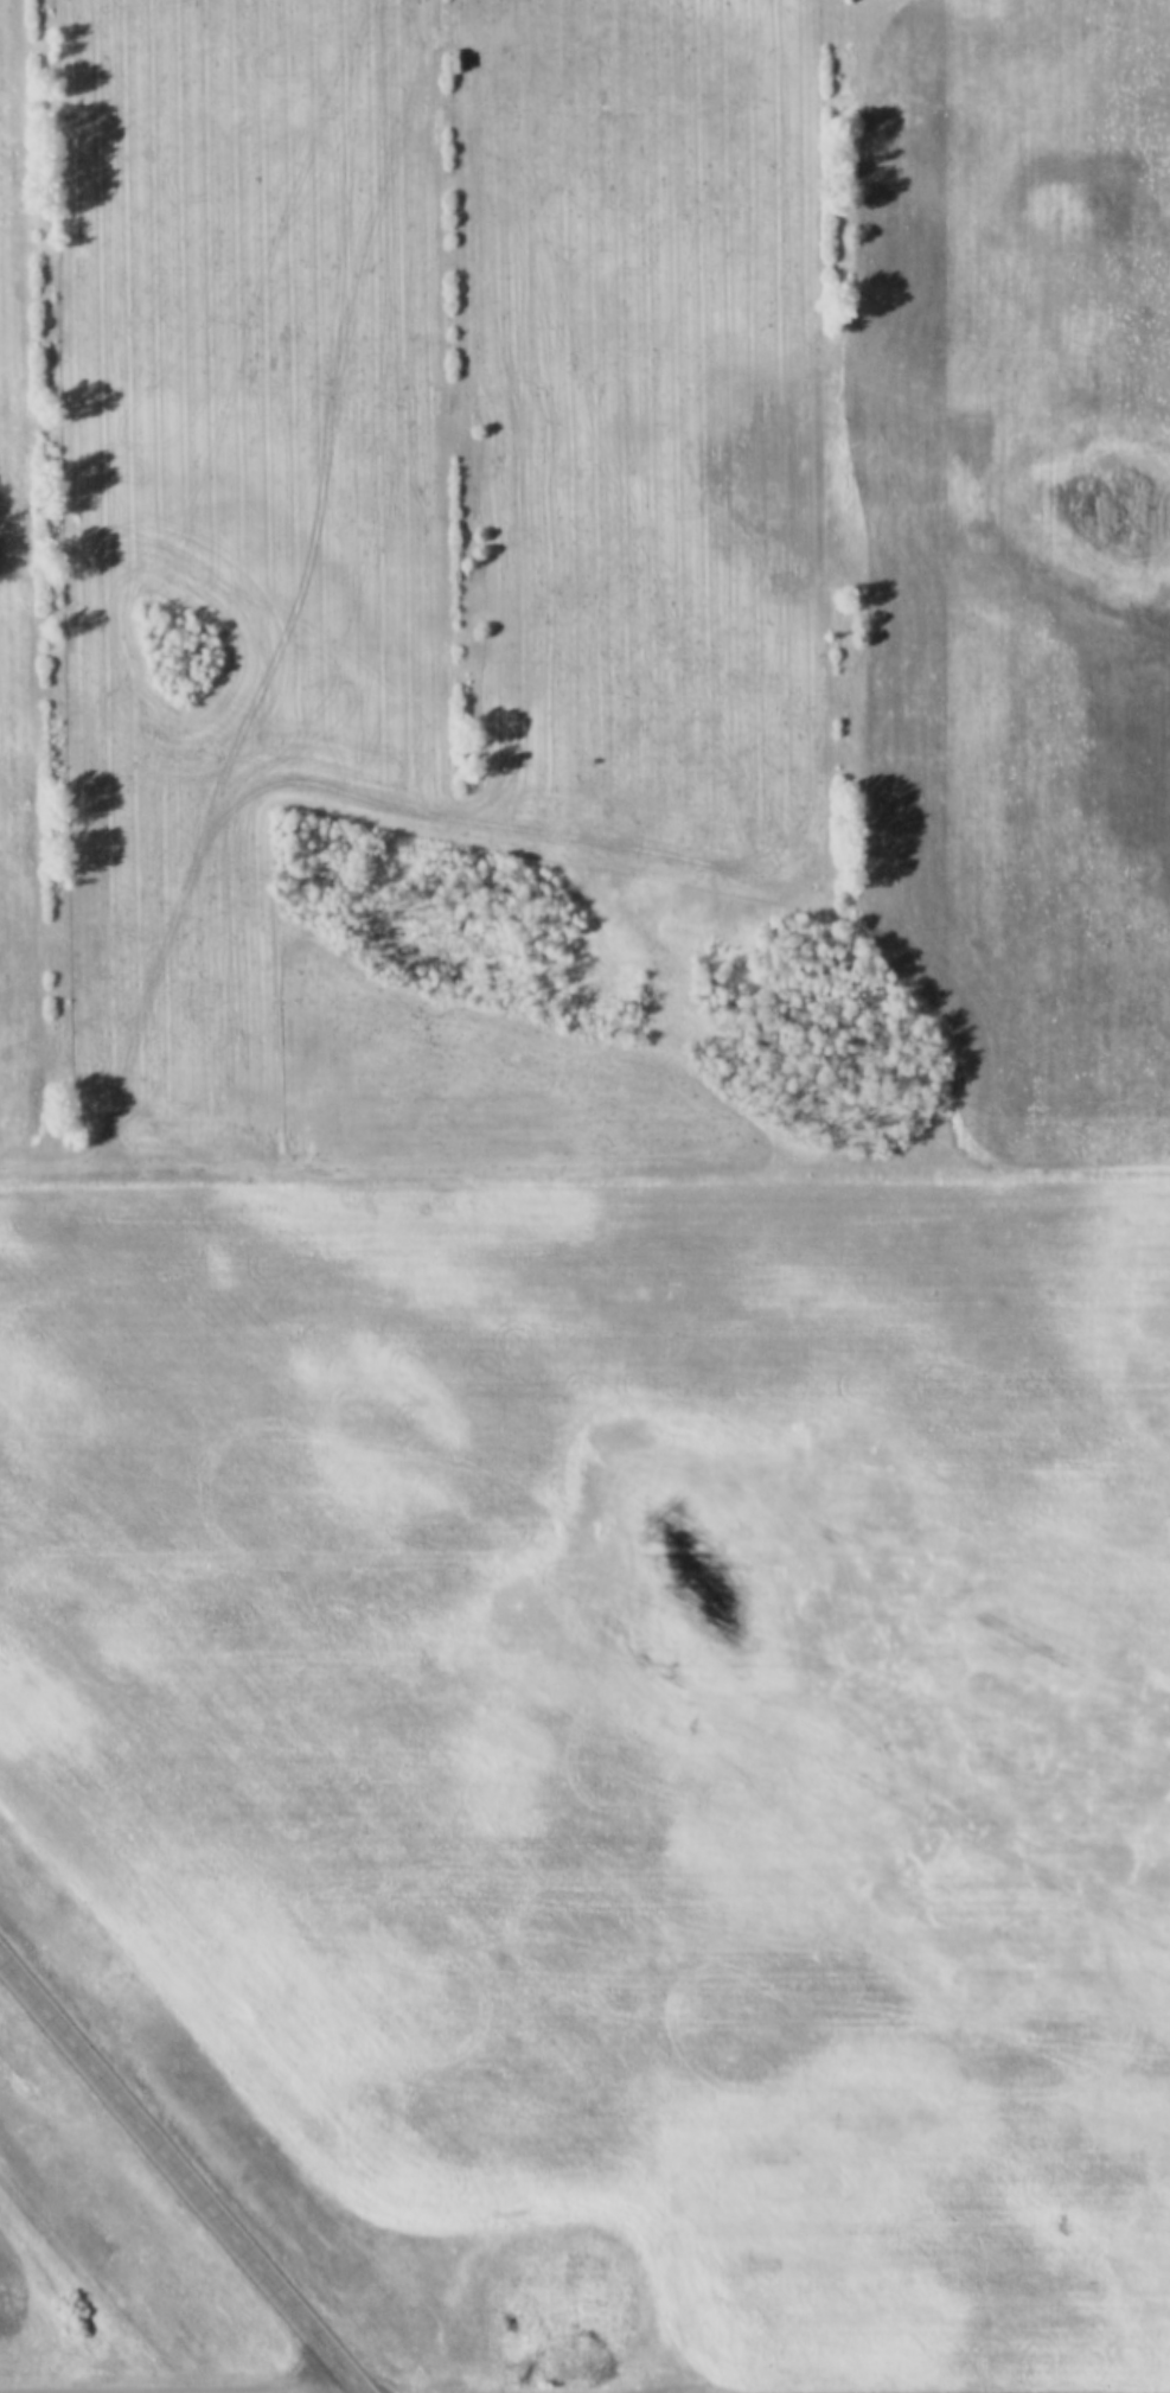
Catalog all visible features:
road: (186, 2171)
road: (767, 2384)
road: (183, 2392)

